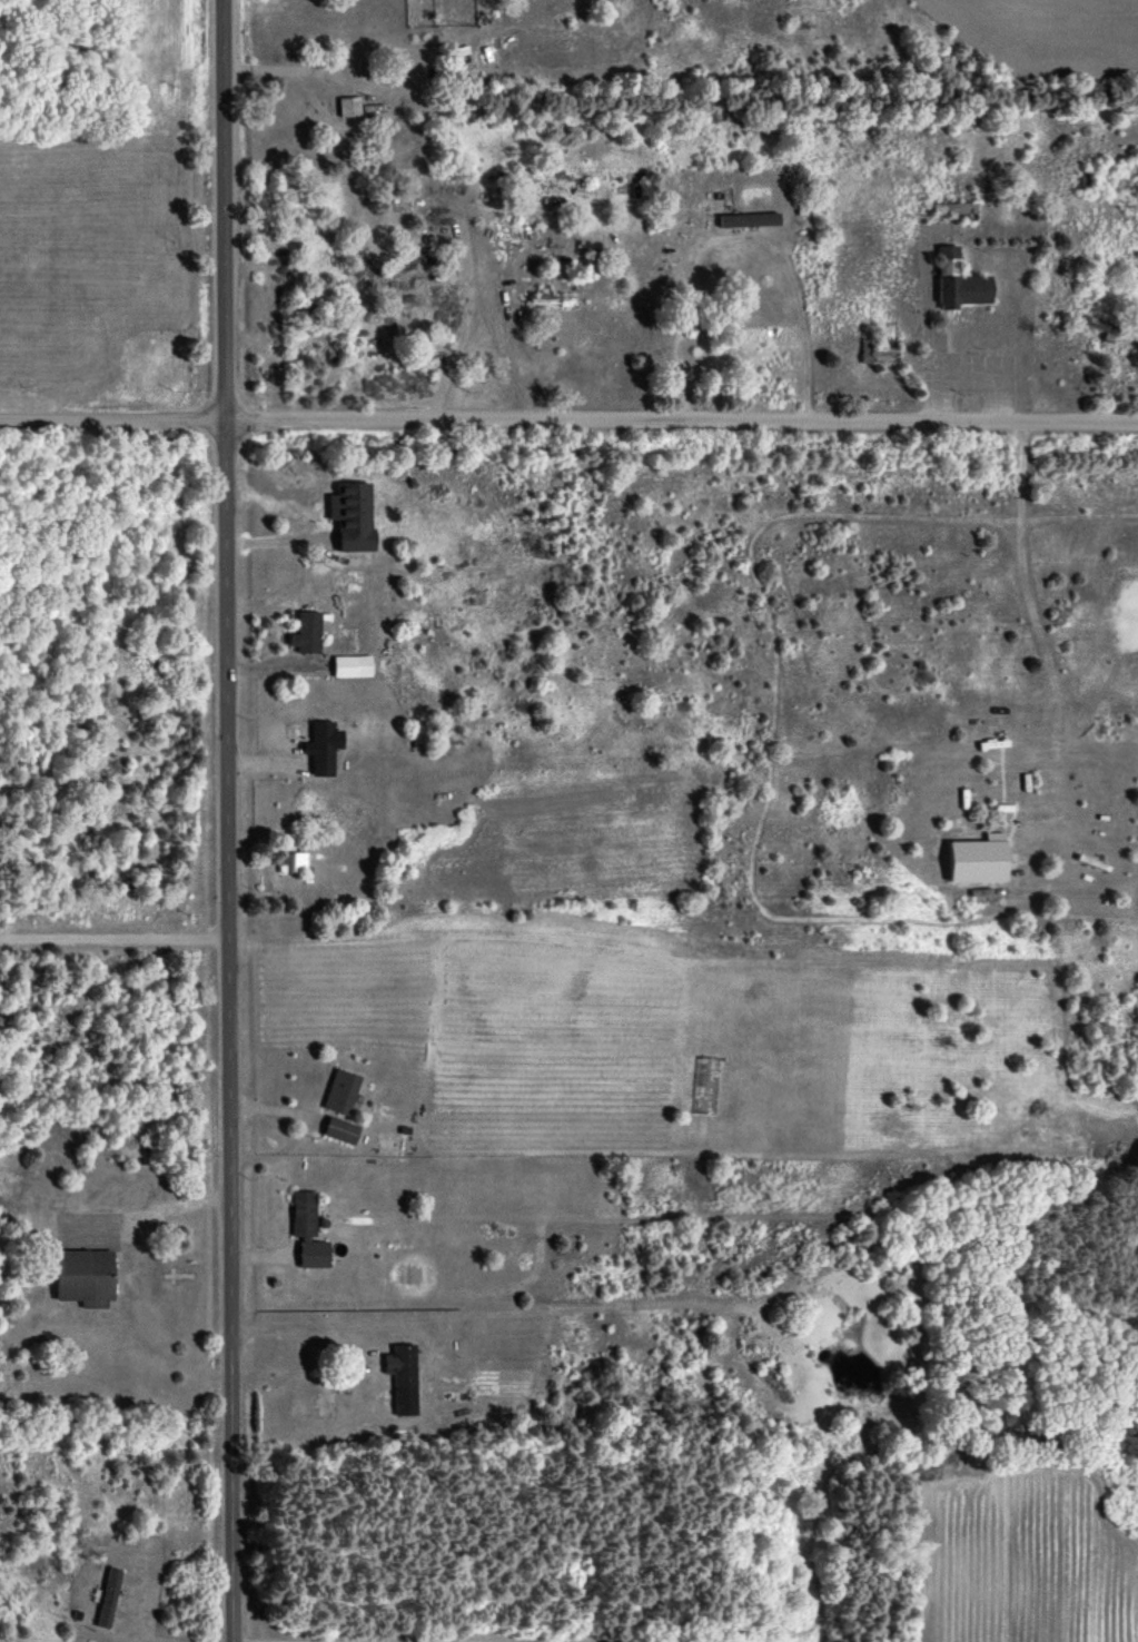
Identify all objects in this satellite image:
road: (315, 65)
building: (348, 105)
building: (749, 218)
road: (749, 237)
building: (959, 280)
building: (552, 299)
road: (461, 324)
building: (878, 353)
road: (971, 374)
road: (568, 421)
building: (352, 514)
road: (1025, 547)
building: (306, 631)
building: (352, 665)
building: (323, 746)
road: (267, 760)
road: (228, 820)
building: (978, 858)
building: (293, 861)
road: (115, 936)
building: (705, 1085)
building: (342, 1090)
building: (340, 1129)
building: (307, 1230)
building: (85, 1276)
road: (293, 1326)
building: (403, 1377)
building: (109, 1596)
road: (383, 1639)

